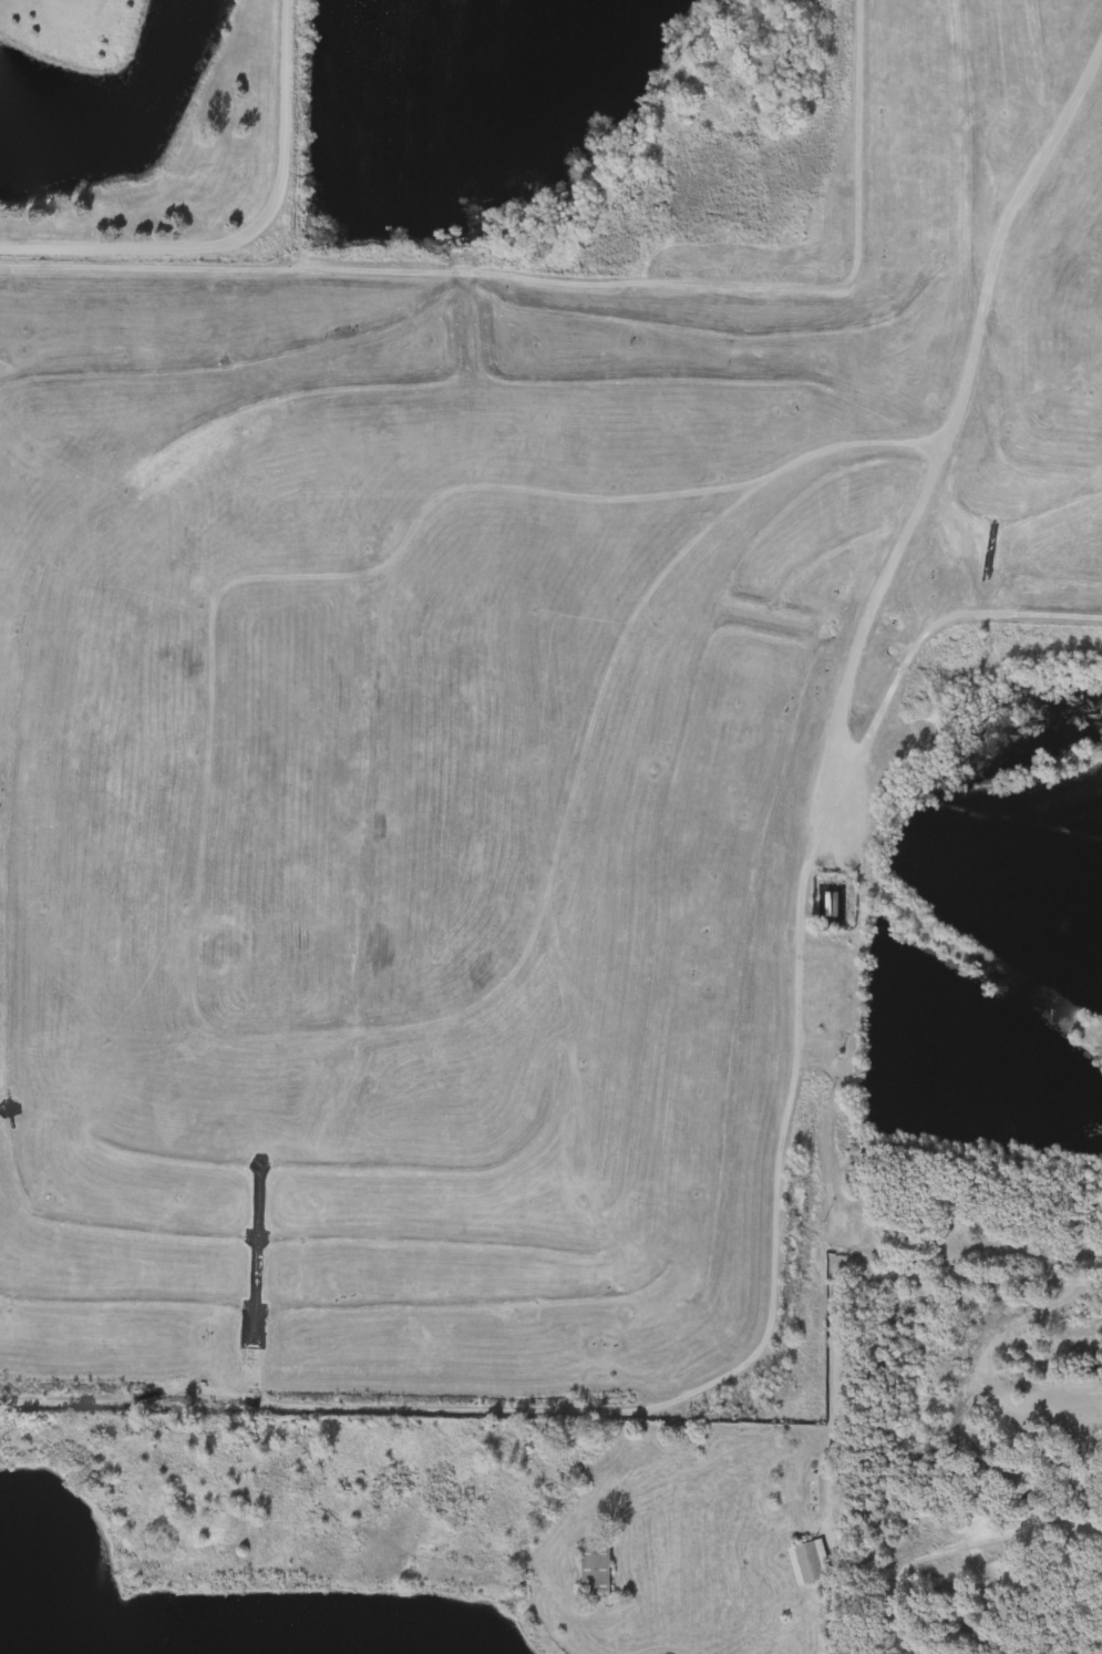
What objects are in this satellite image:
road: (975, 367)
road: (926, 636)
road: (795, 929)
road: (518, 1064)
road: (846, 1278)
building: (815, 1487)
building: (811, 1561)
building: (598, 1568)
building: (794, 1568)
building: (581, 1574)

